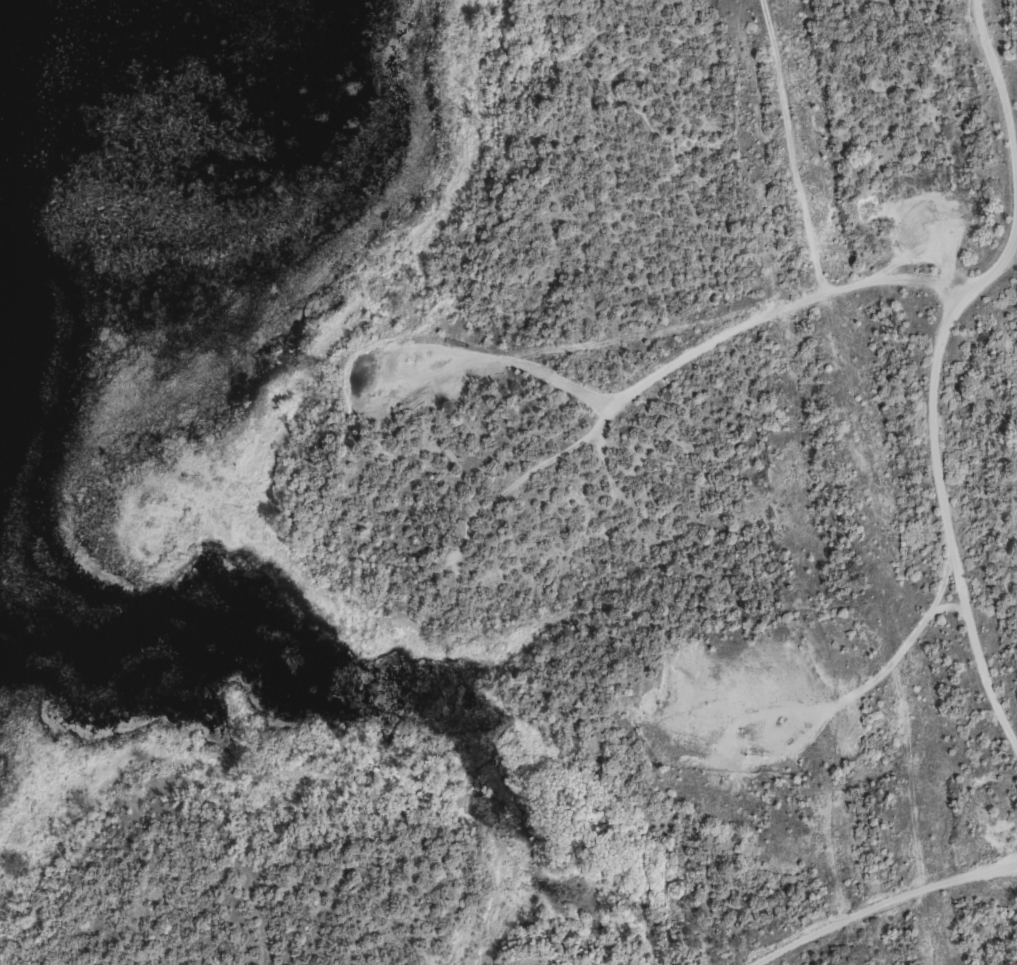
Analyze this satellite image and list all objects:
road: (707, 331)
road: (934, 357)
road: (215, 892)
road: (868, 904)

